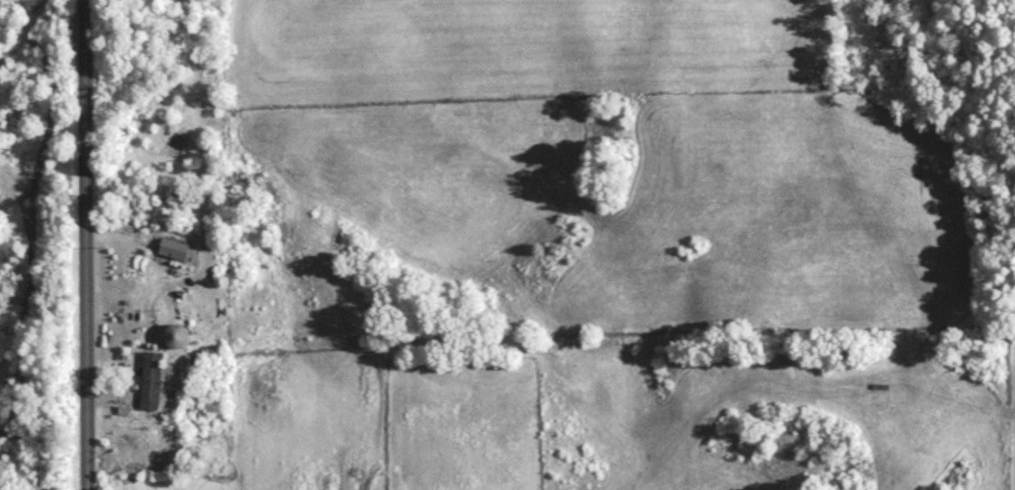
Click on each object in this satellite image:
road: (27, 32)
road: (85, 245)
building: (172, 255)
road: (584, 308)
building: (150, 386)

